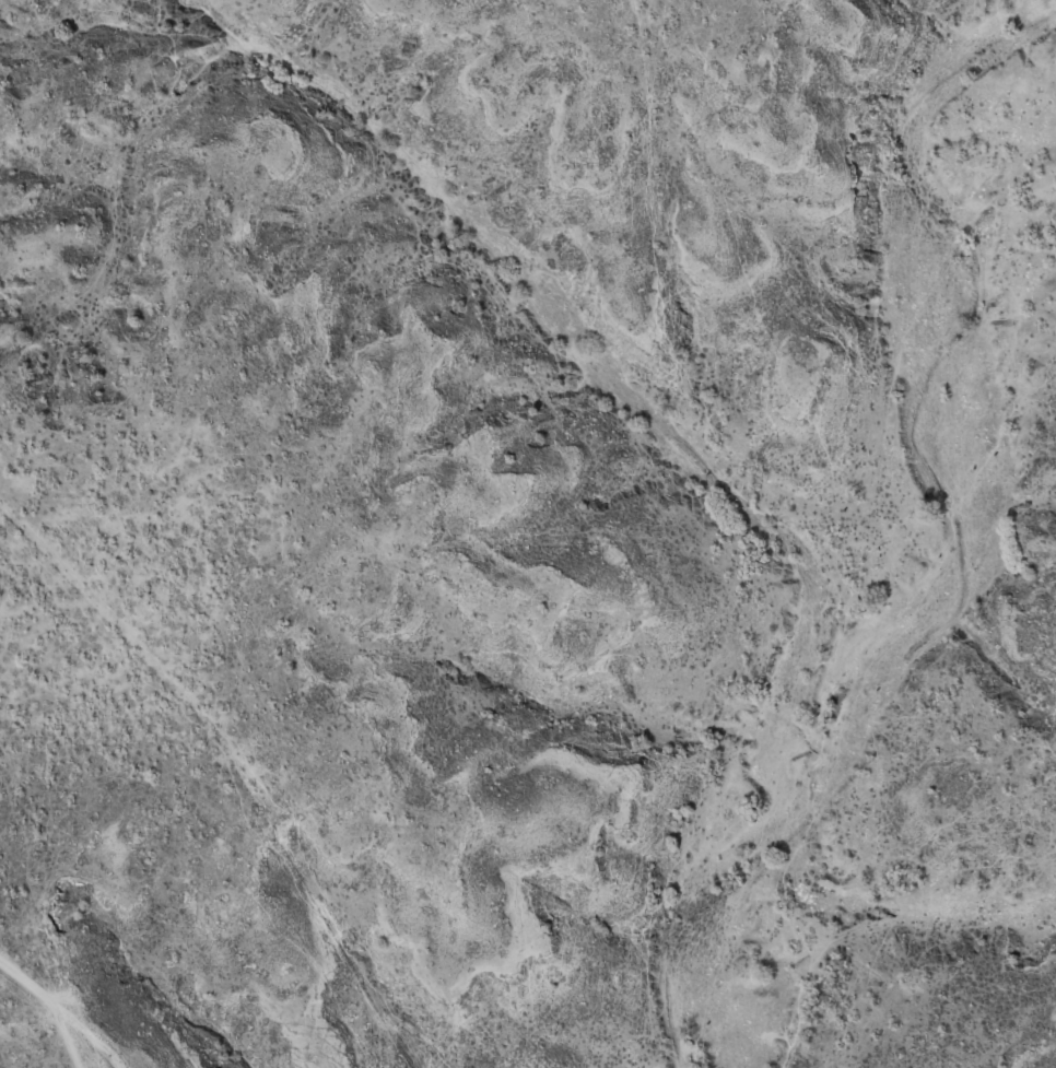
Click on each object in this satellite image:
road: (67, 1011)

